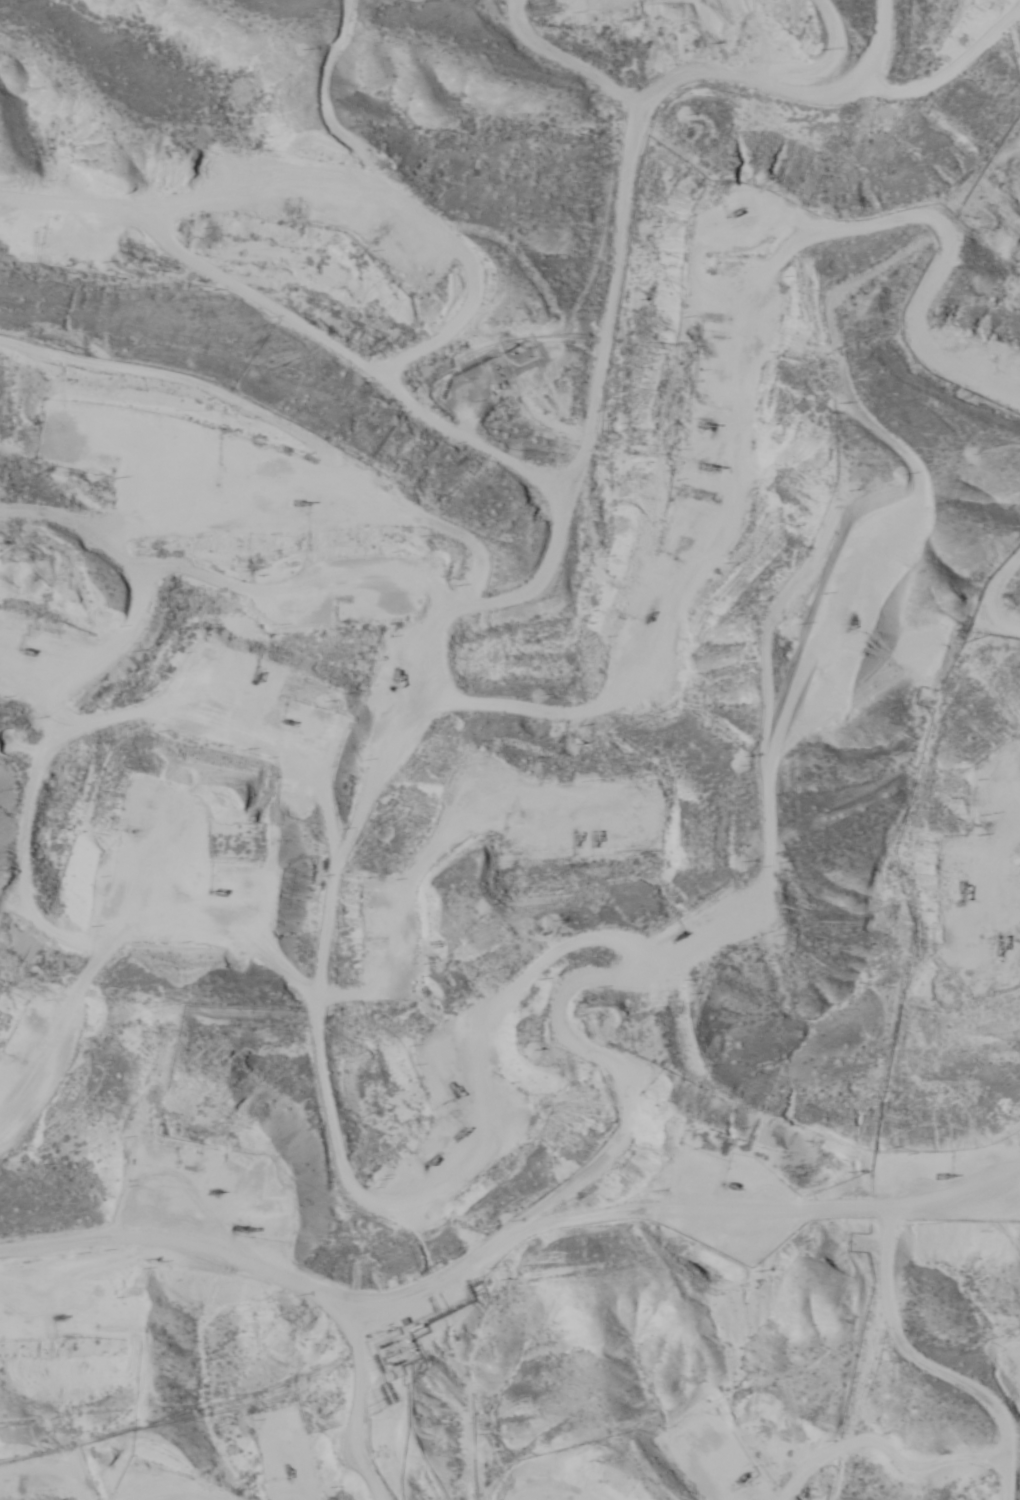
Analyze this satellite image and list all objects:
road: (698, 133)
road: (449, 426)
road: (335, 587)
road: (845, 599)
road: (653, 805)
road: (510, 1238)
road: (359, 1406)
road: (1002, 1459)
road: (47, 1469)

